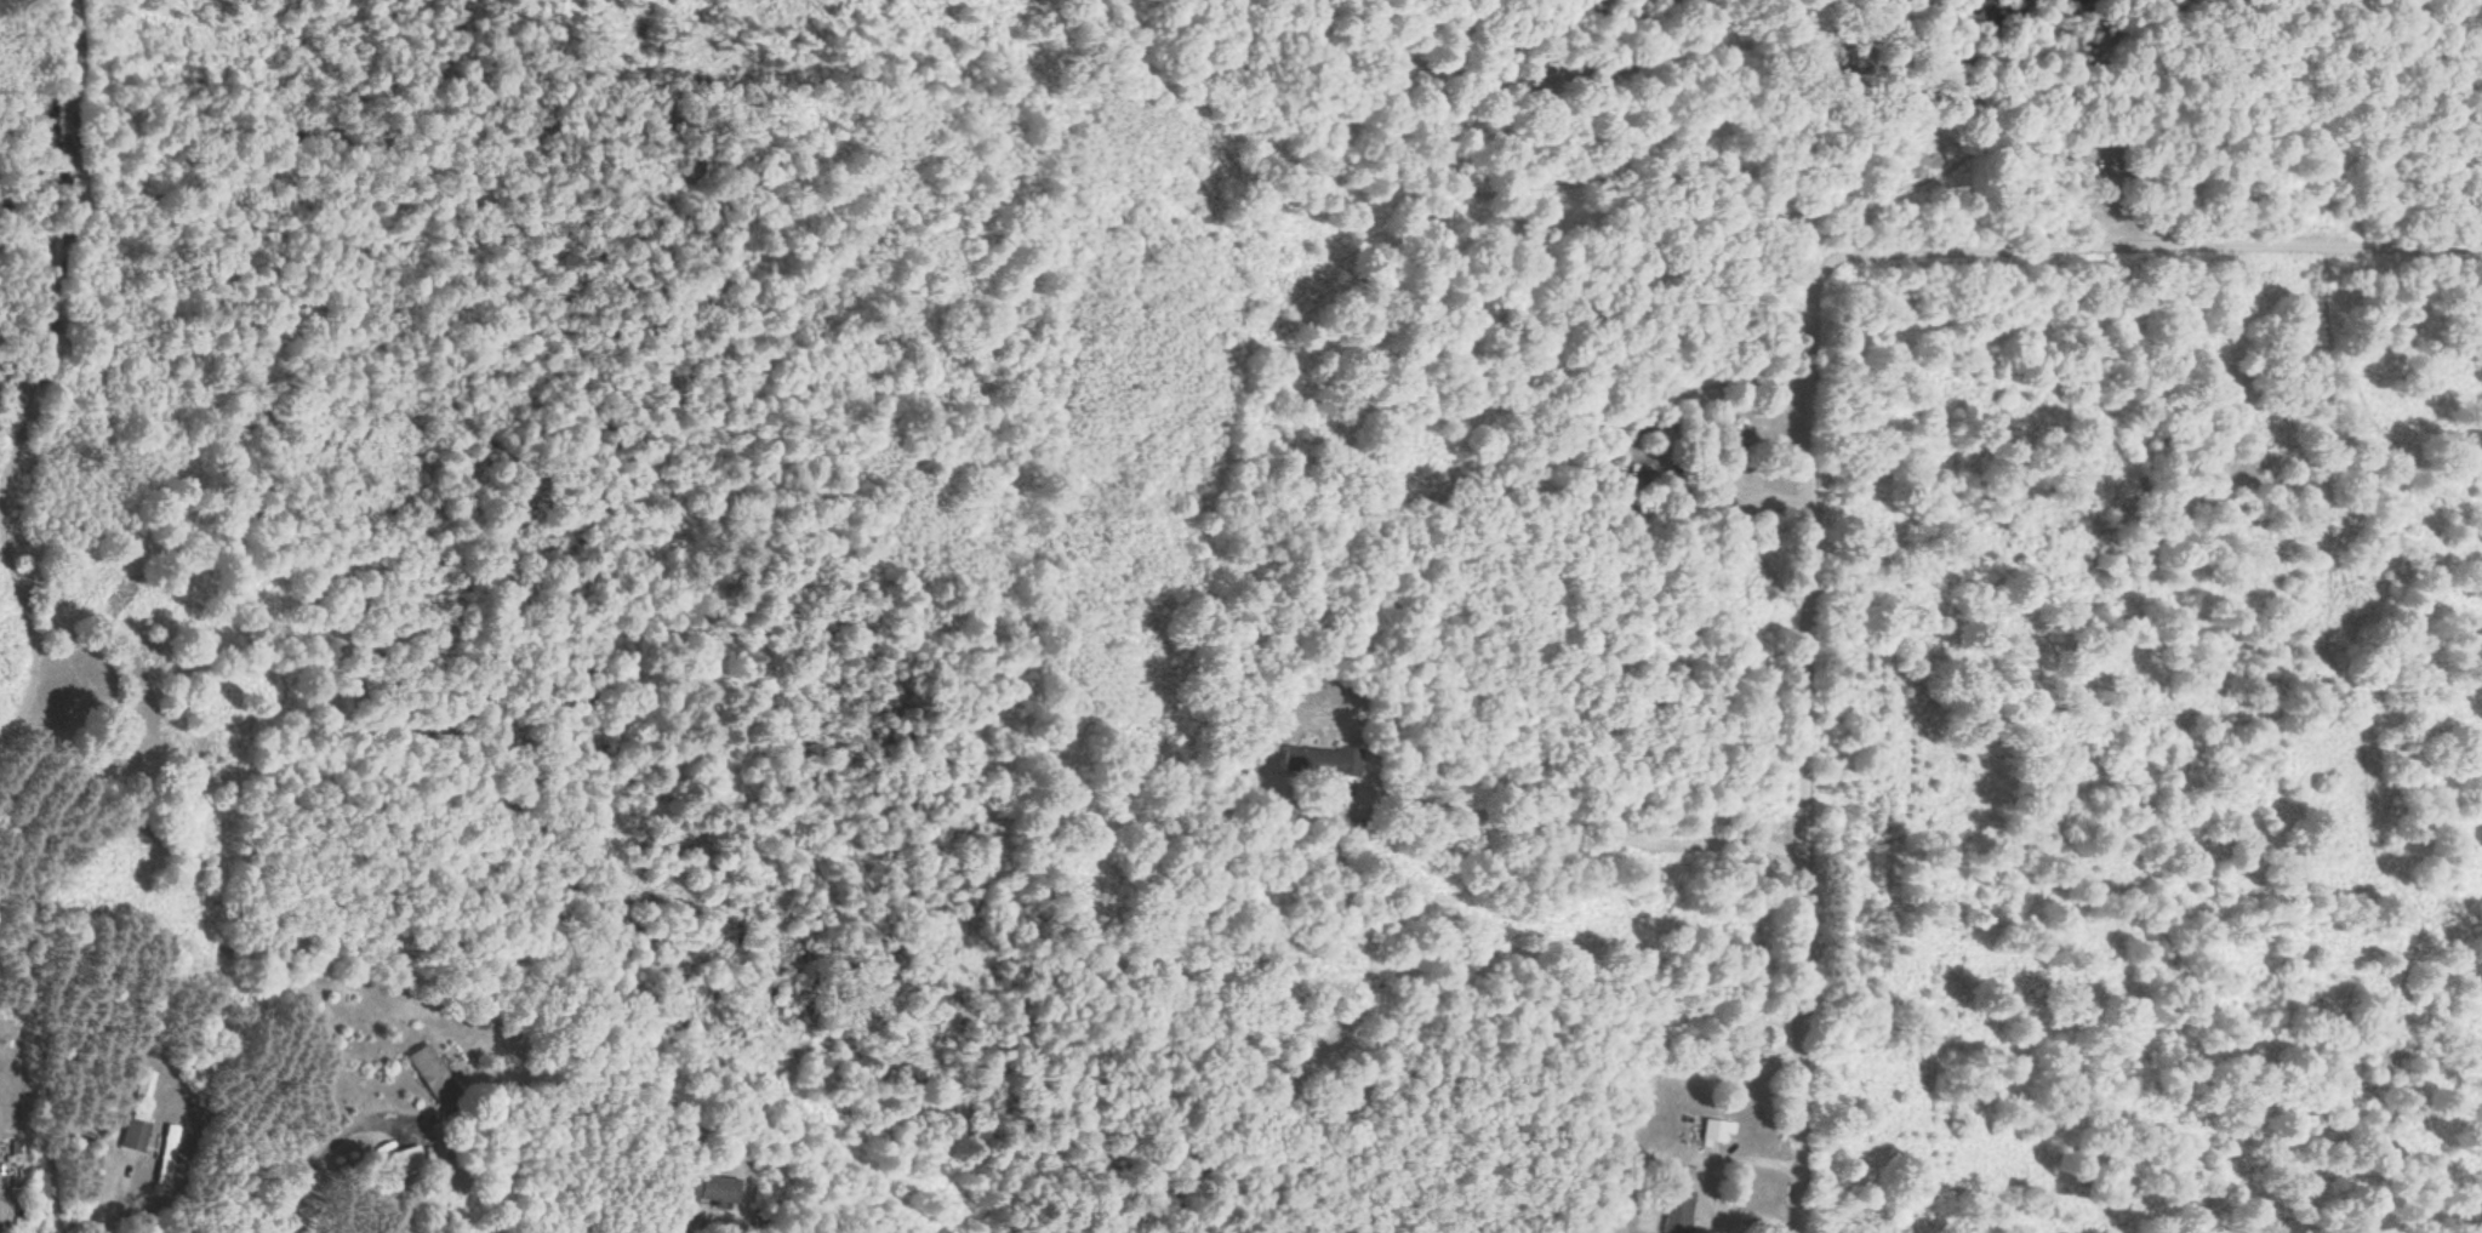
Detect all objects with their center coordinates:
road: (72, 240)
road: (2145, 250)
road: (24, 652)
road: (1792, 744)
building: (432, 1074)
building: (143, 1086)
building: (1716, 1132)
building: (166, 1154)
building: (406, 1159)

